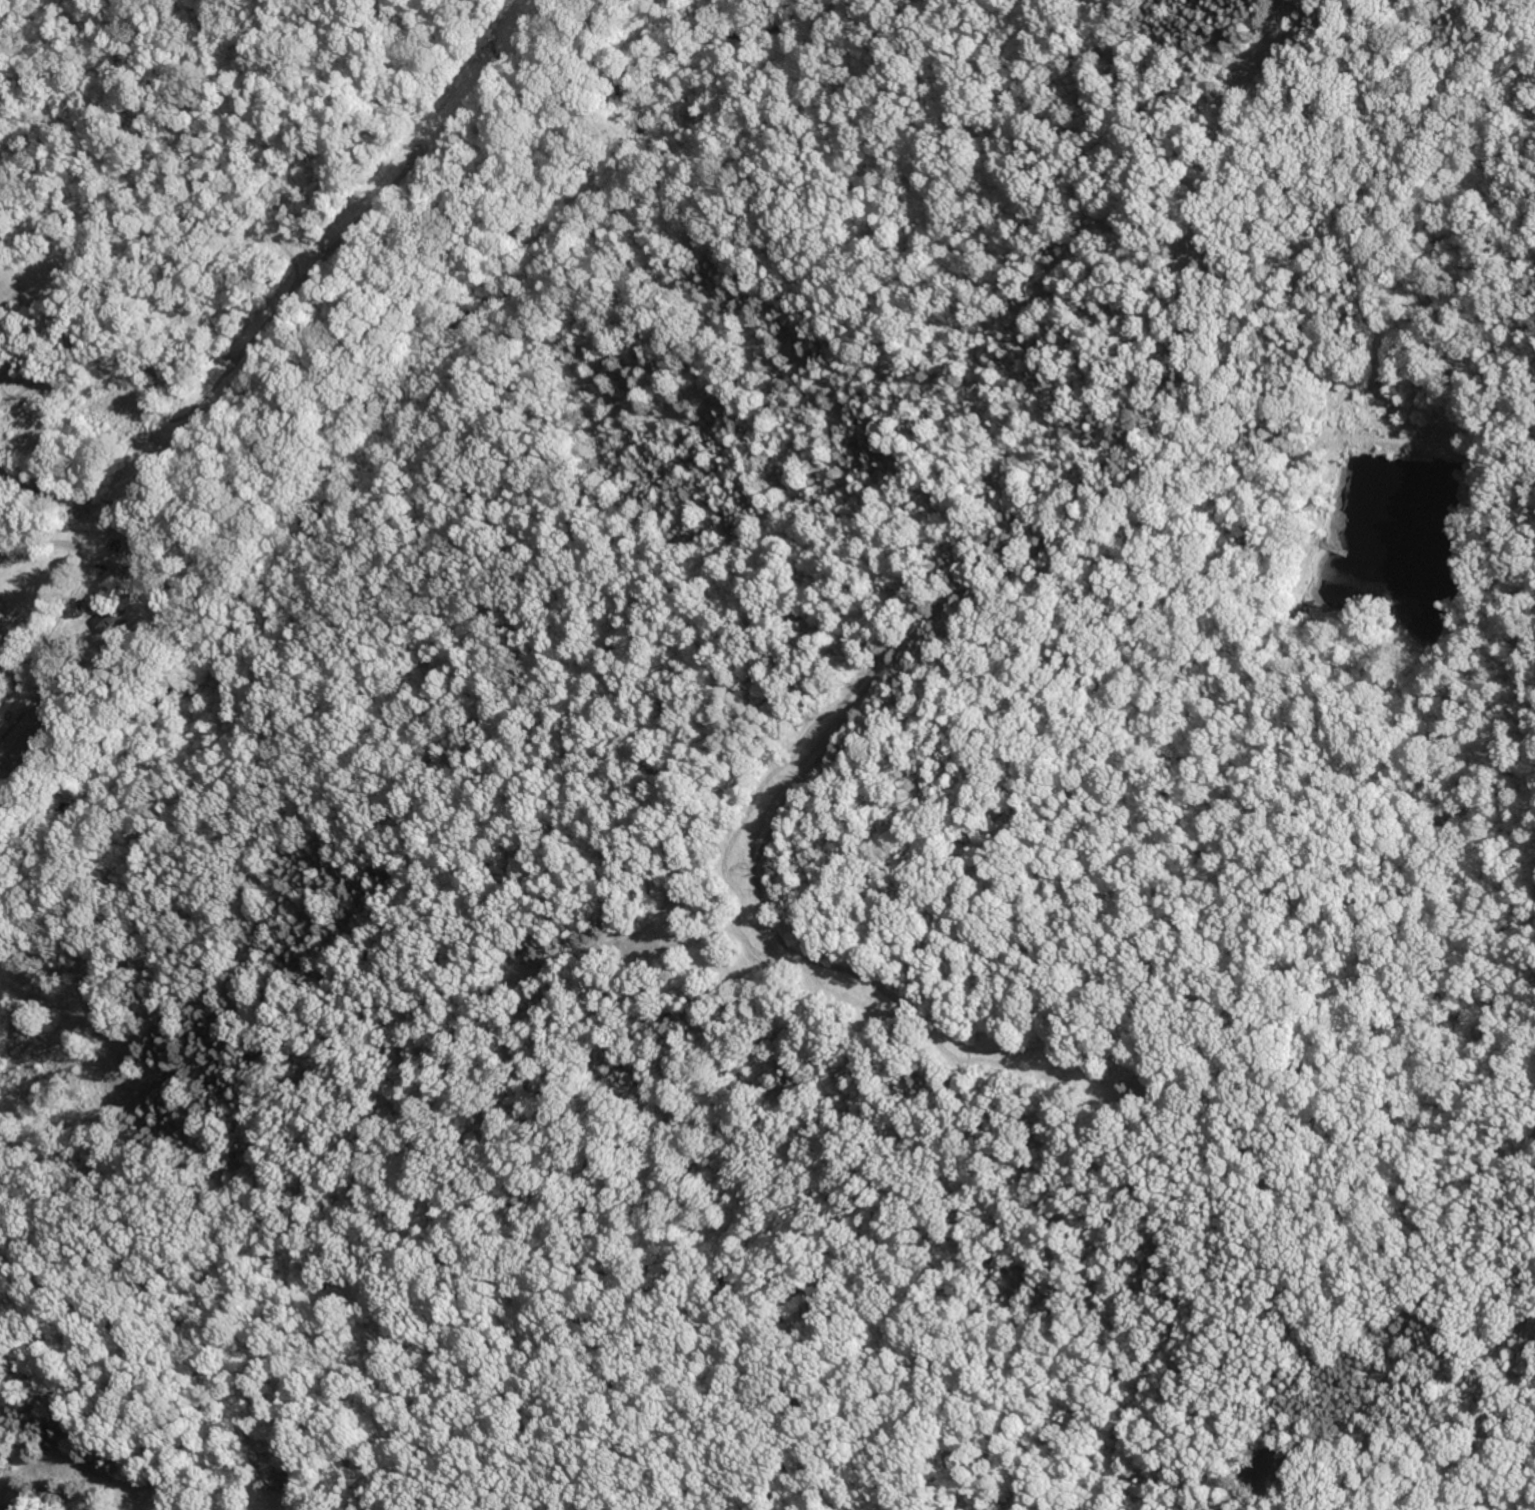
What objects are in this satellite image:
building: (0, 615)
road: (4, 666)
building: (25, 742)

